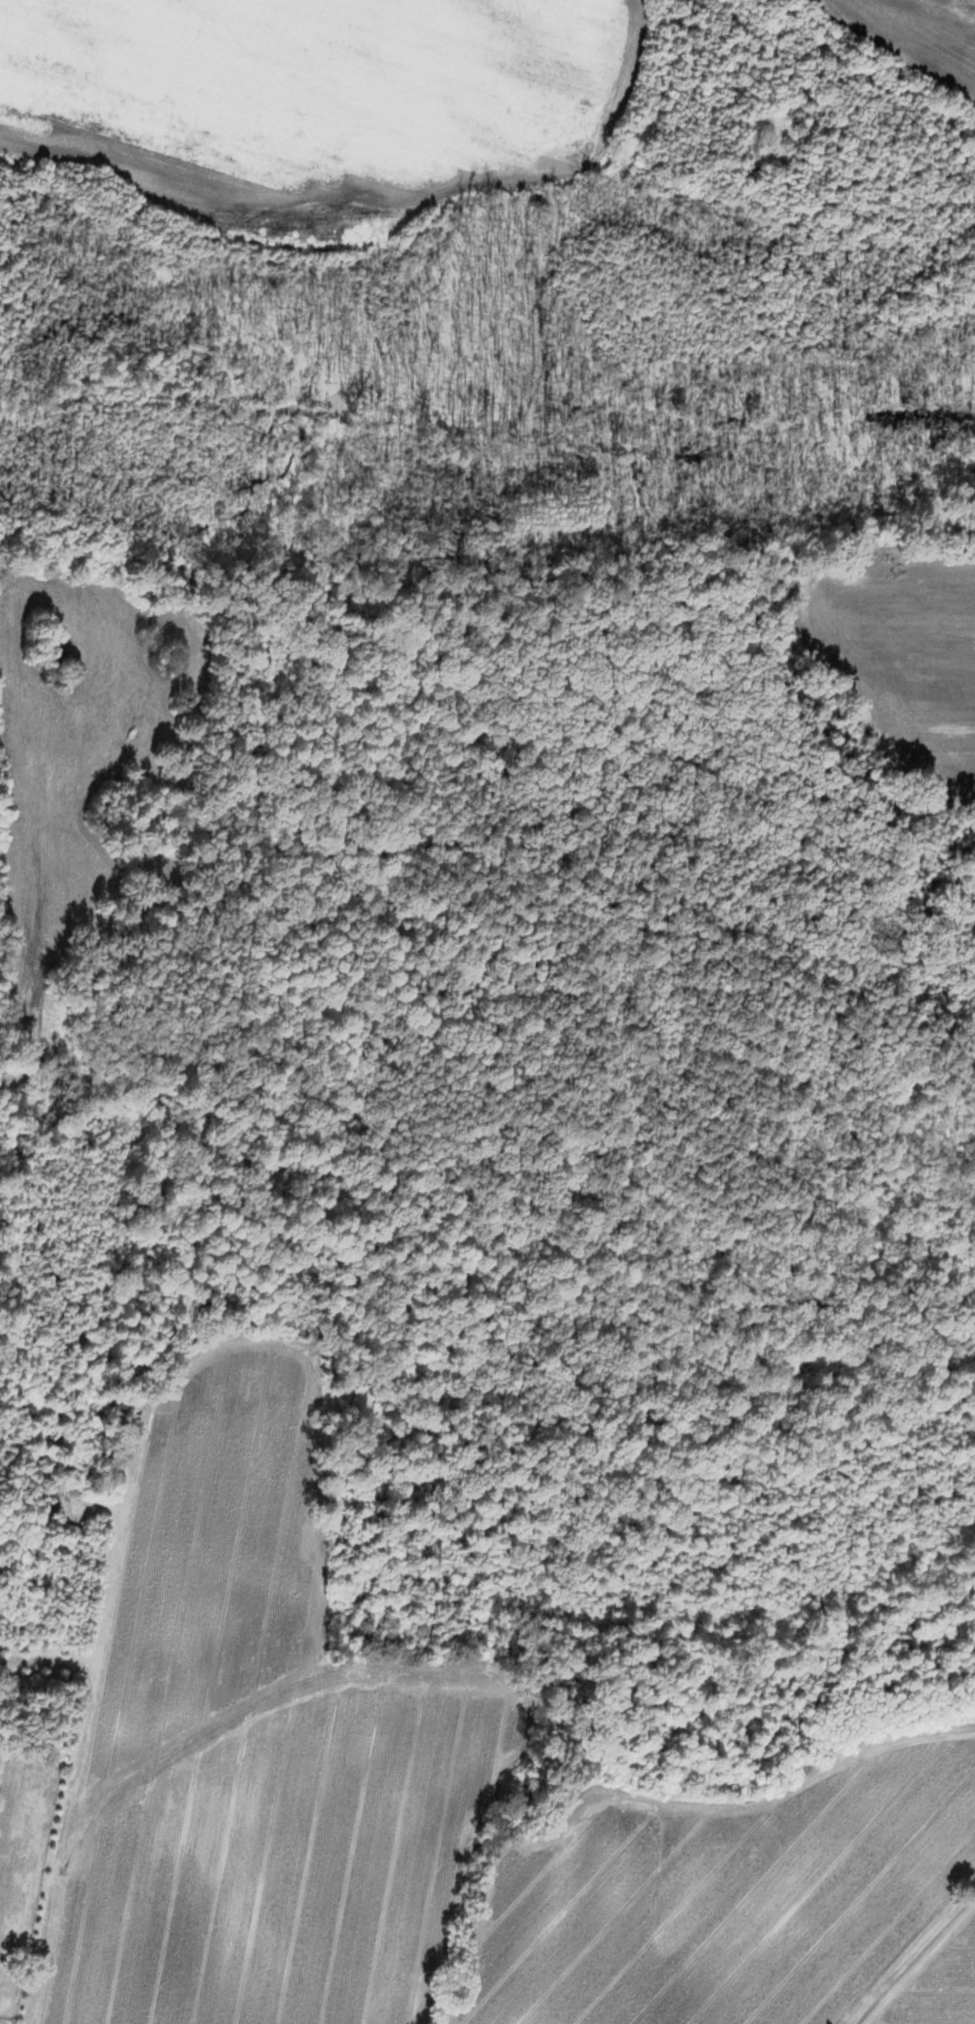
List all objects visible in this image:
road: (911, 1953)

